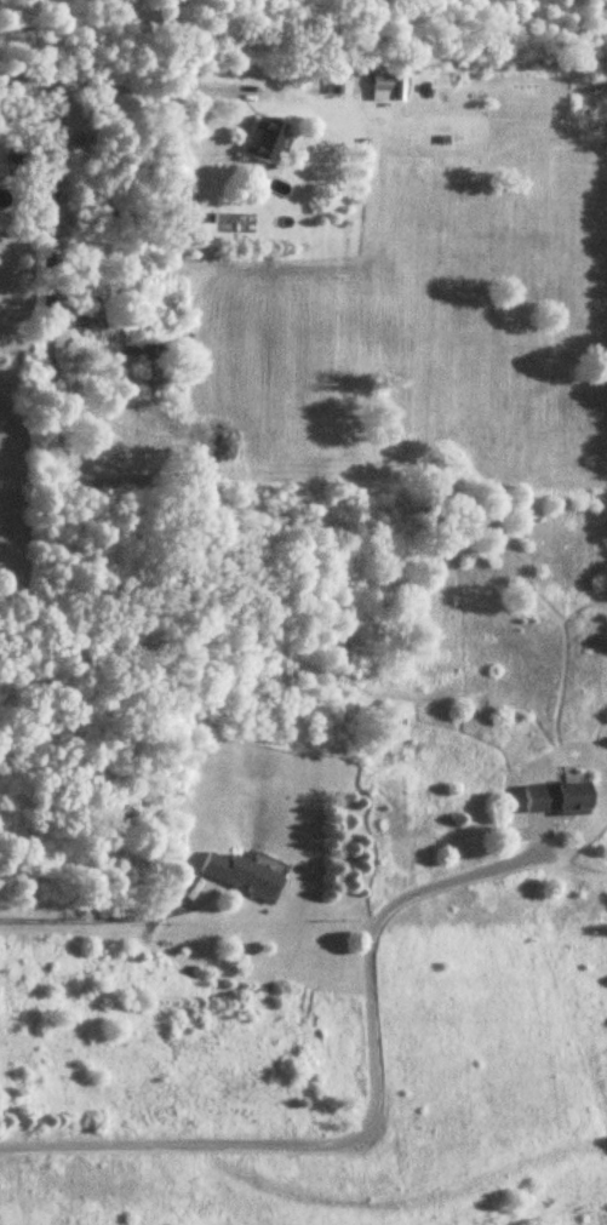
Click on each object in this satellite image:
road: (120, 81)
building: (382, 82)
building: (264, 142)
building: (557, 800)
building: (242, 877)
road: (74, 911)
road: (365, 1117)

